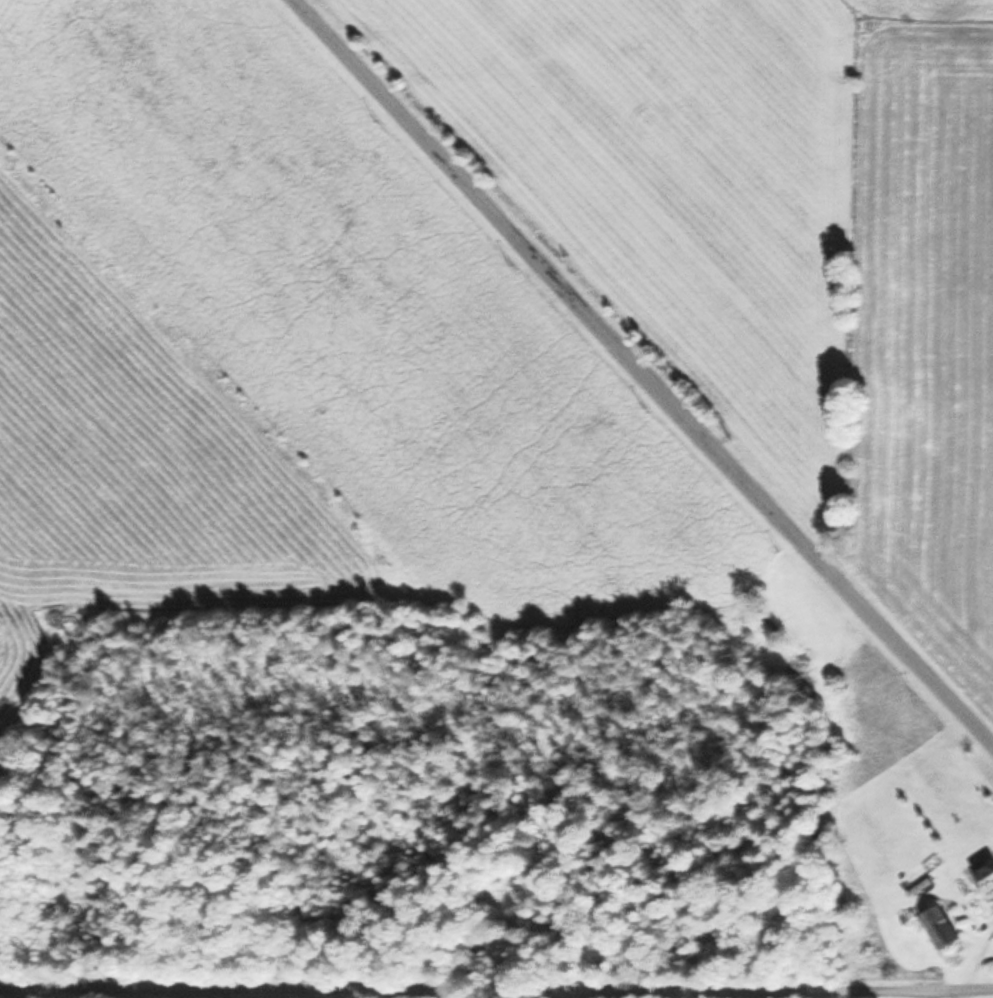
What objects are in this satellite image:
road: (636, 373)
building: (985, 869)
building: (944, 929)
road: (496, 993)

